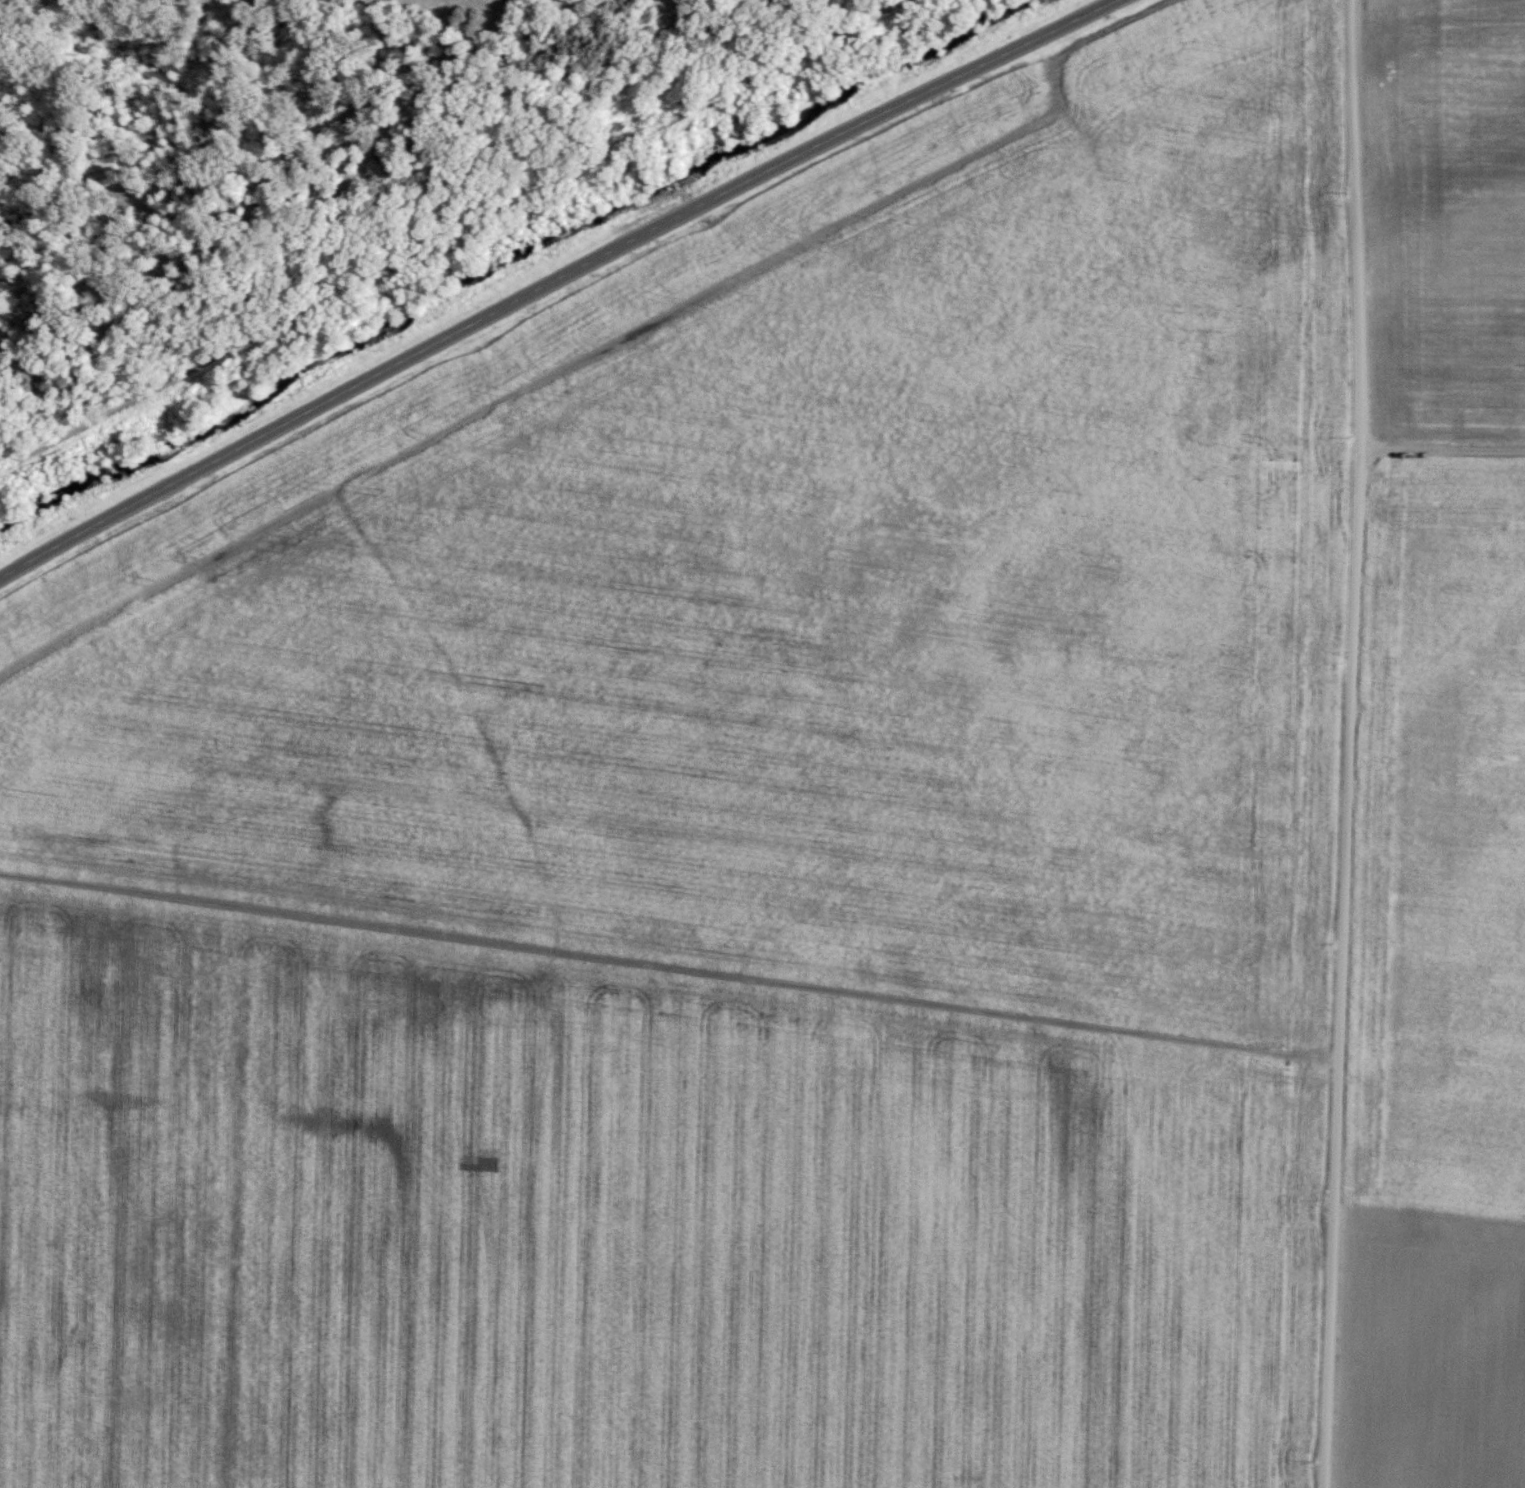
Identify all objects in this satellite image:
road: (450, 231)
road: (556, 283)
road: (1445, 452)
road: (1351, 744)

